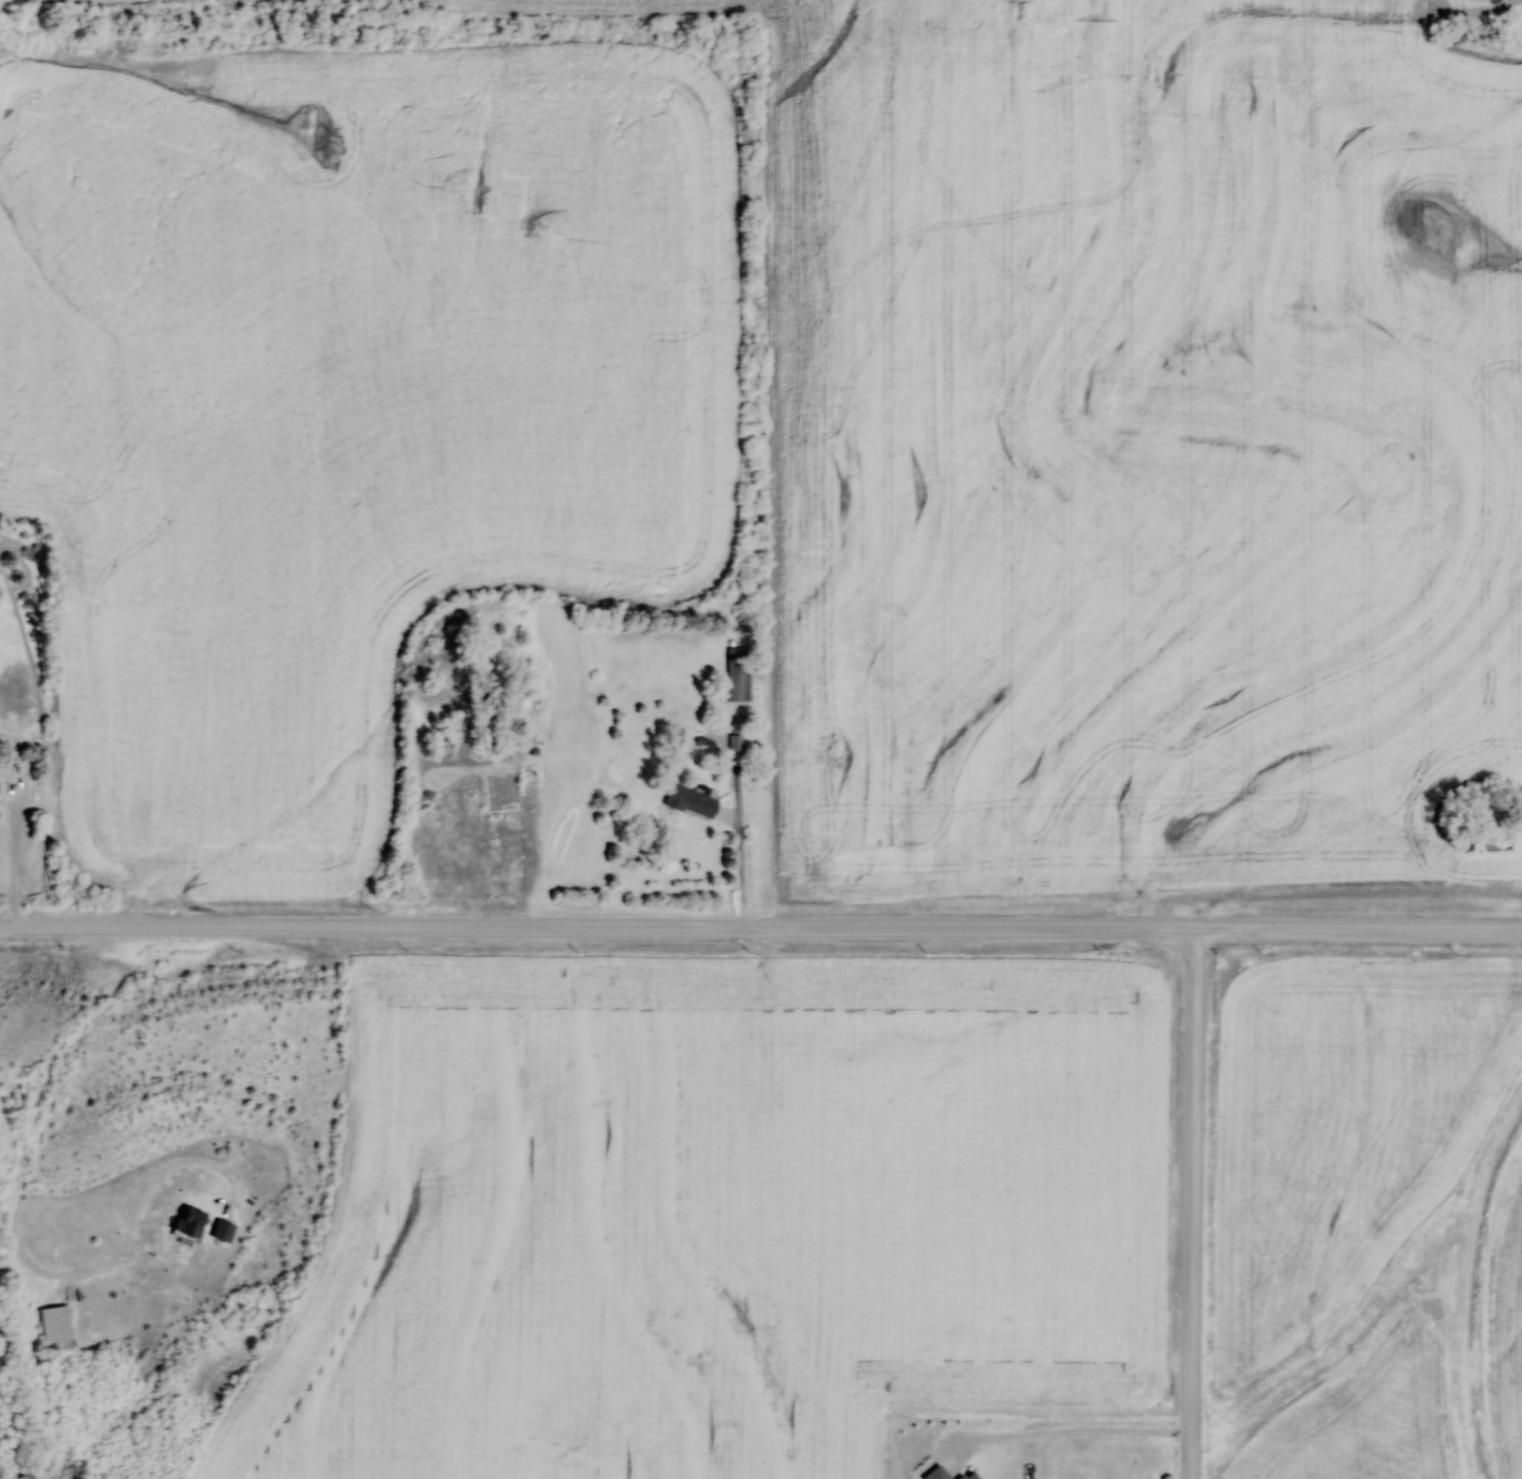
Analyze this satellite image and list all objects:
building: (734, 675)
building: (691, 801)
road: (761, 928)
road: (1192, 1204)
building: (189, 1223)
building: (222, 1231)
road: (98, 1269)
building: (58, 1327)

